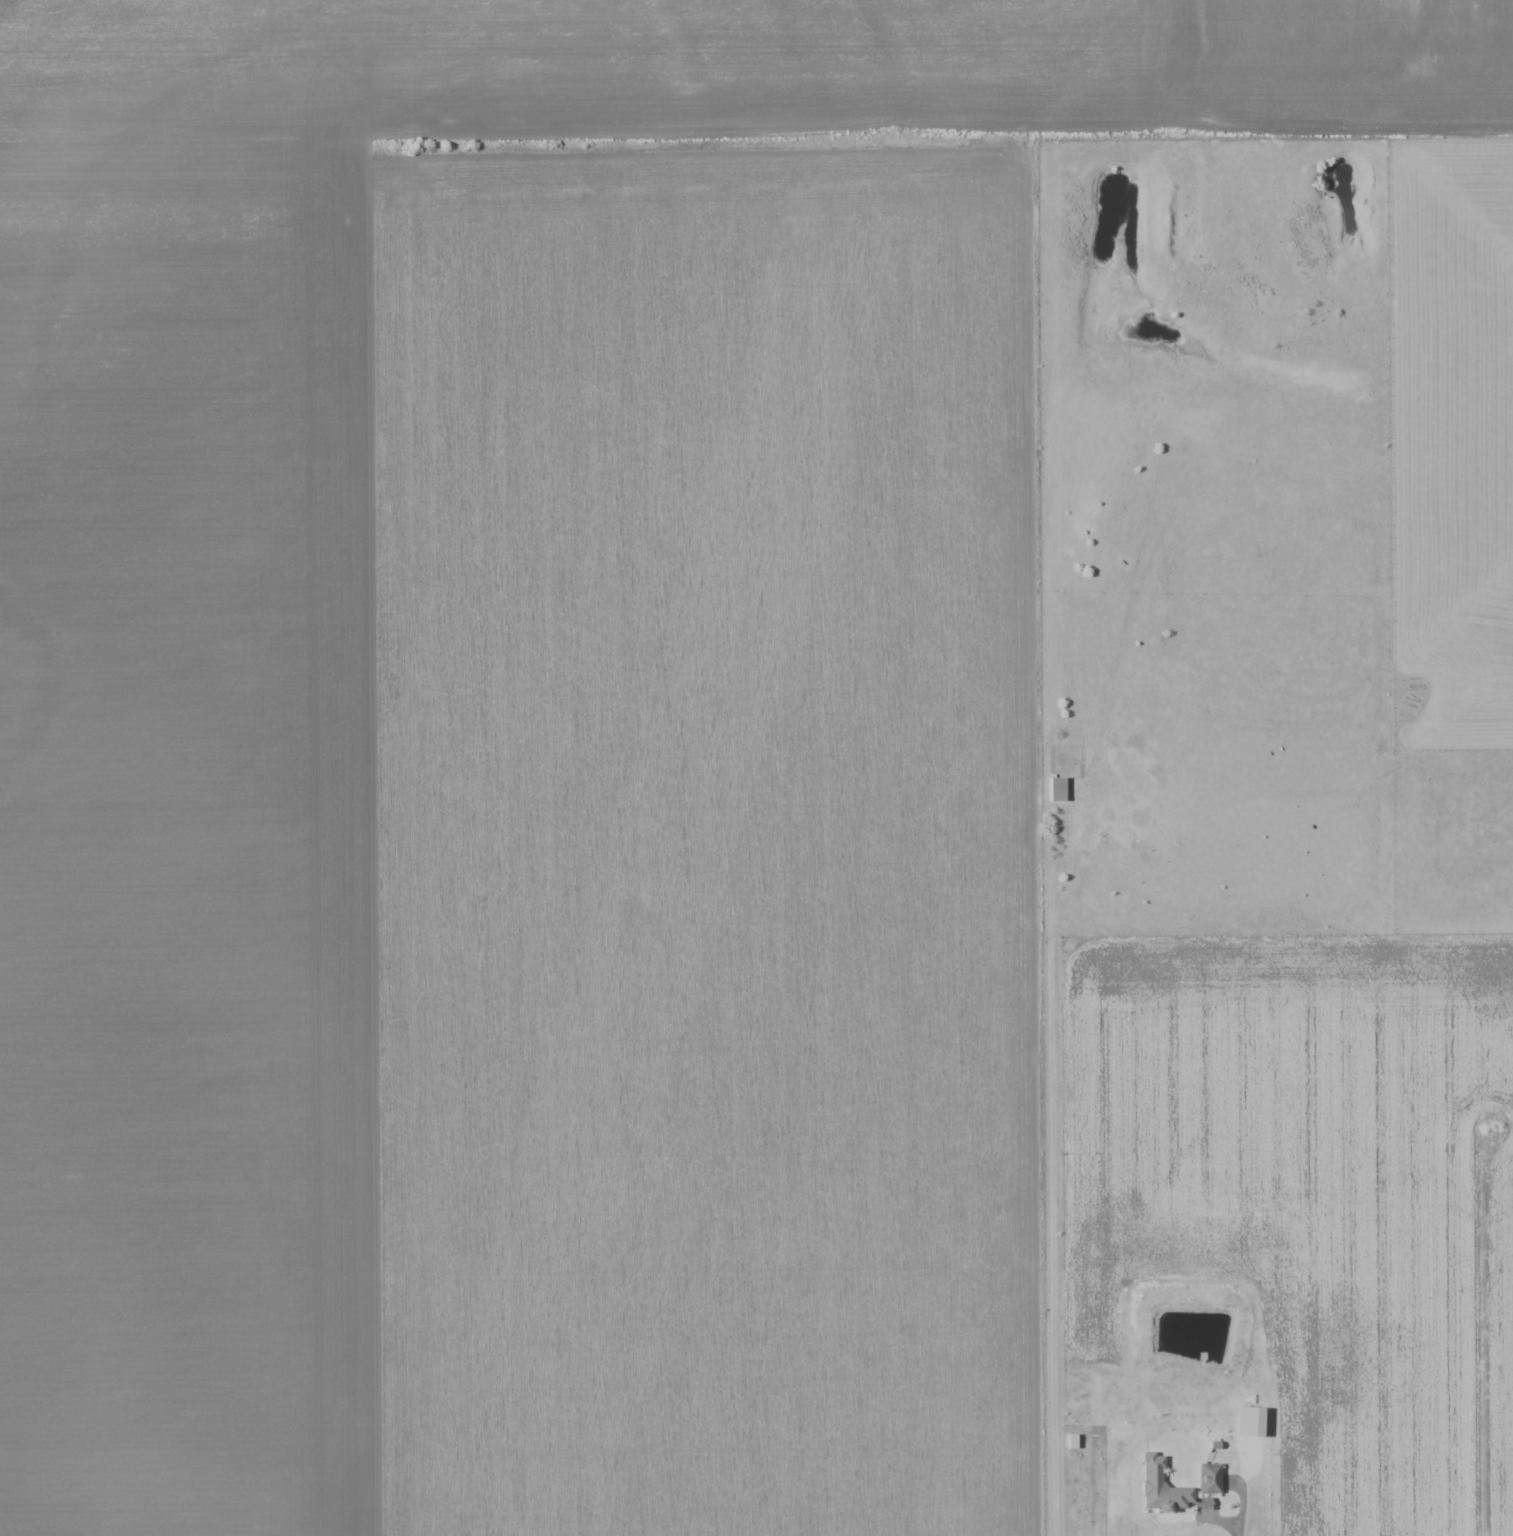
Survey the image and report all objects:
building: (1209, 1478)
building: (1161, 1486)
road: (1219, 1521)

